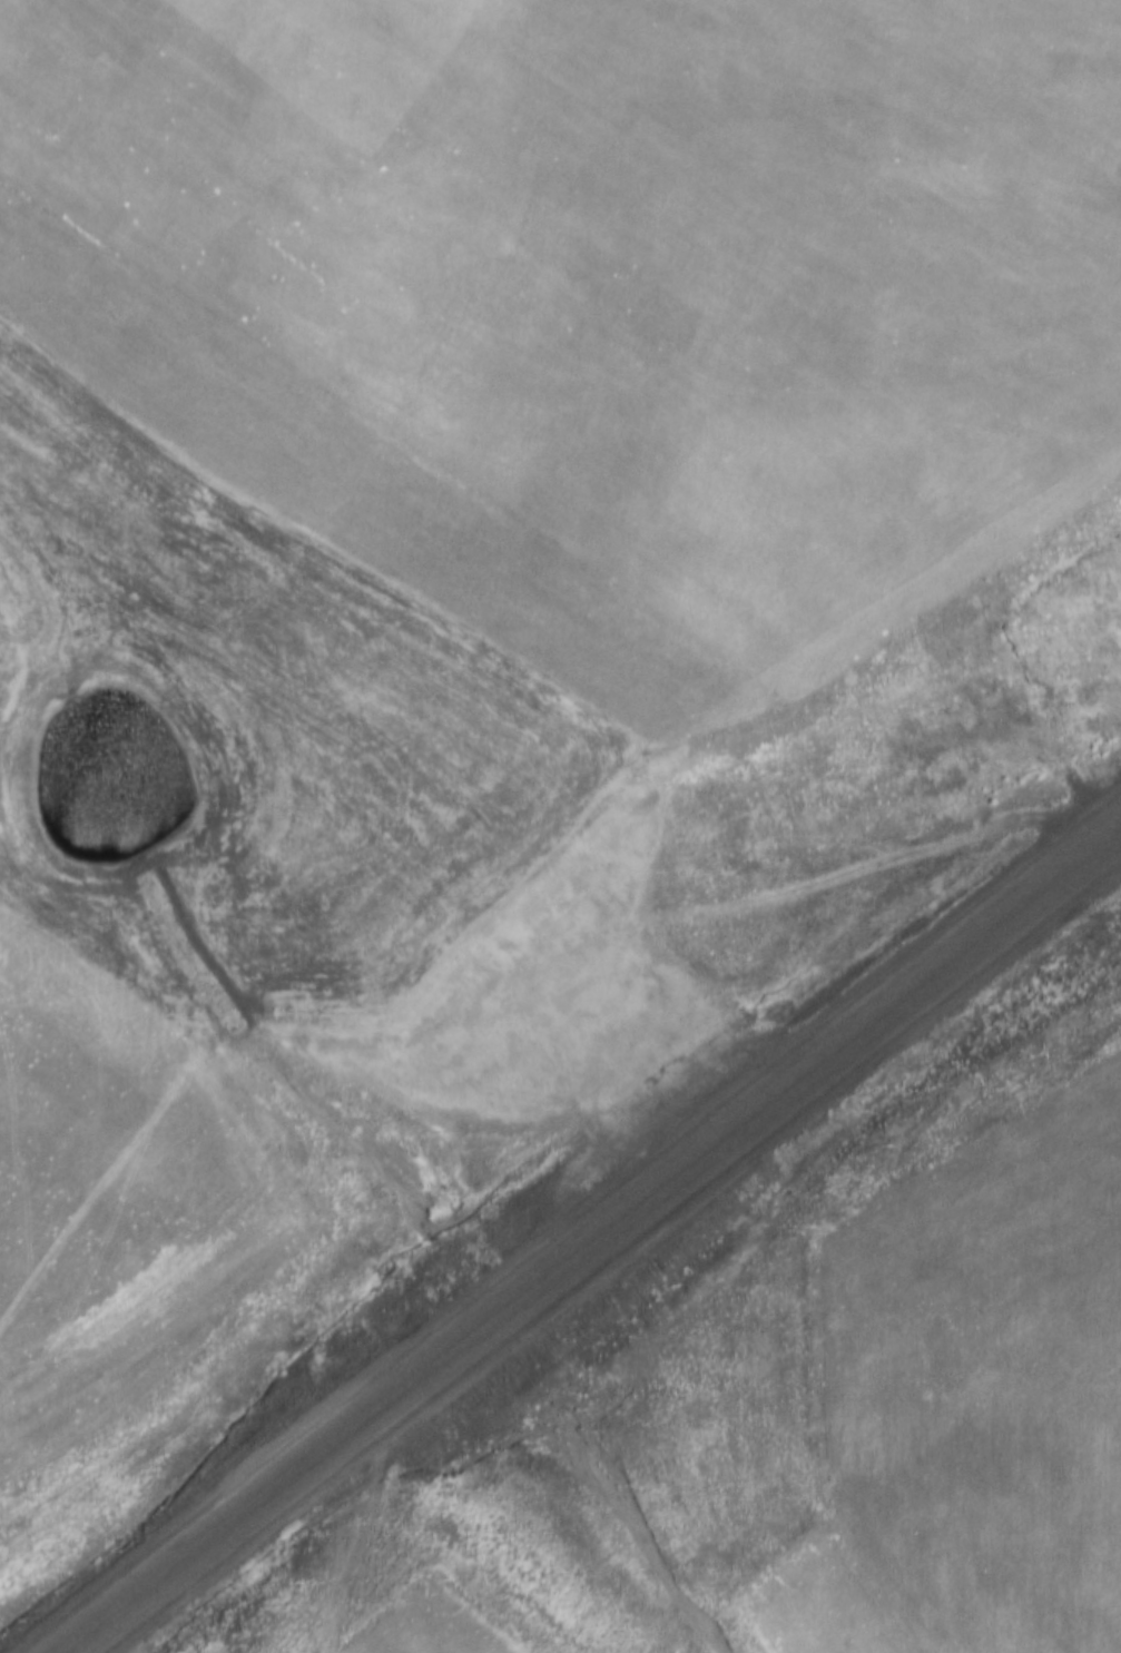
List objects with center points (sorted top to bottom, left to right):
quarry: (560, 826)

